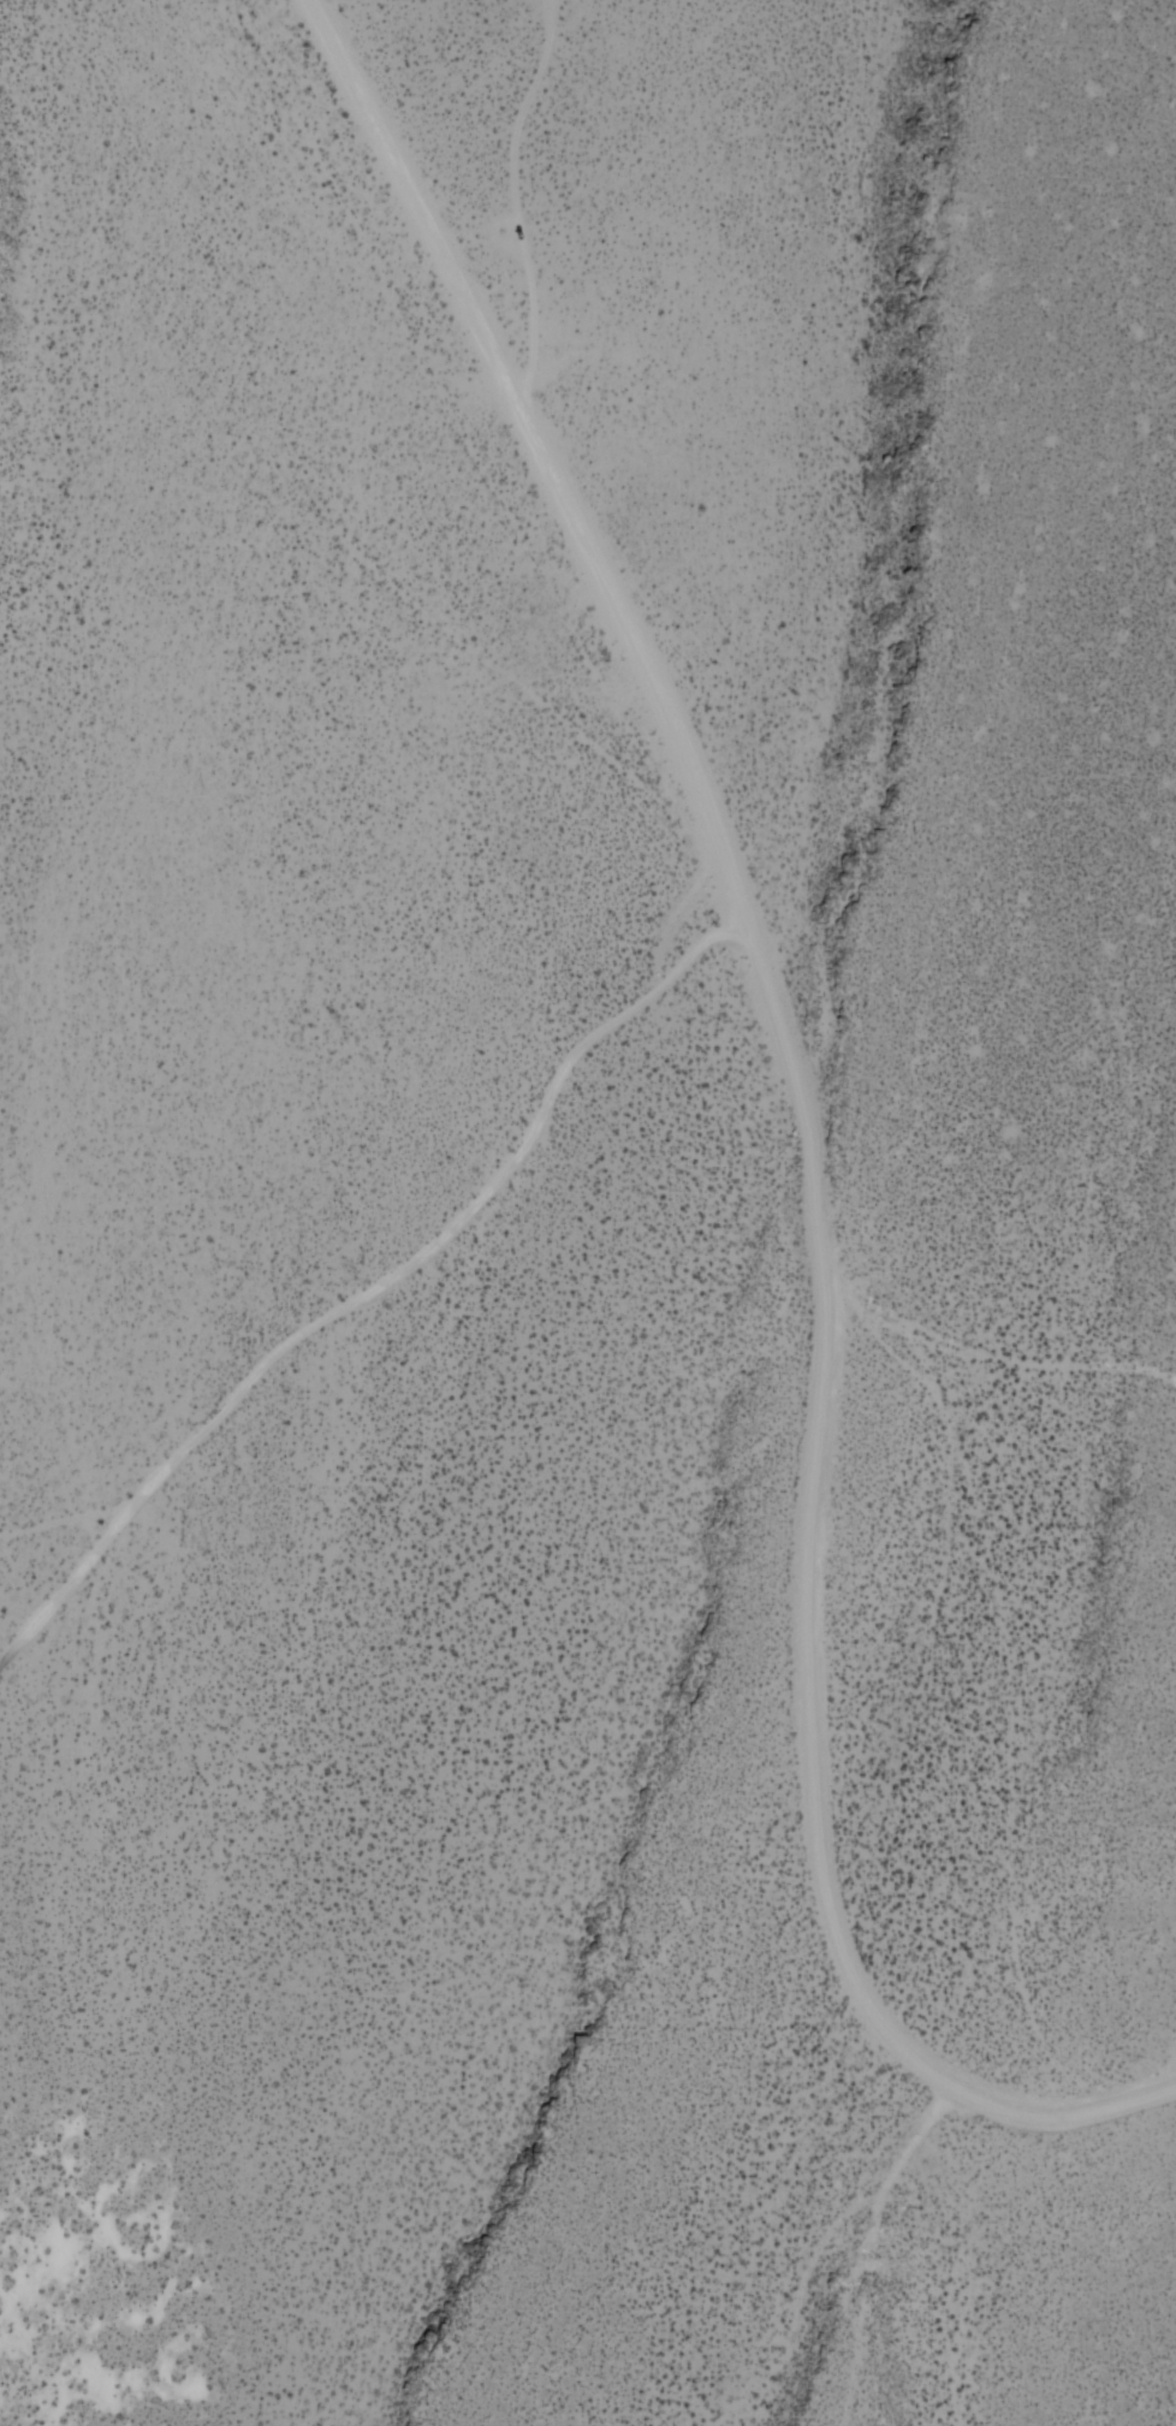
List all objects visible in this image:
road: (807, 1135)
road: (373, 1289)
road: (986, 1353)

